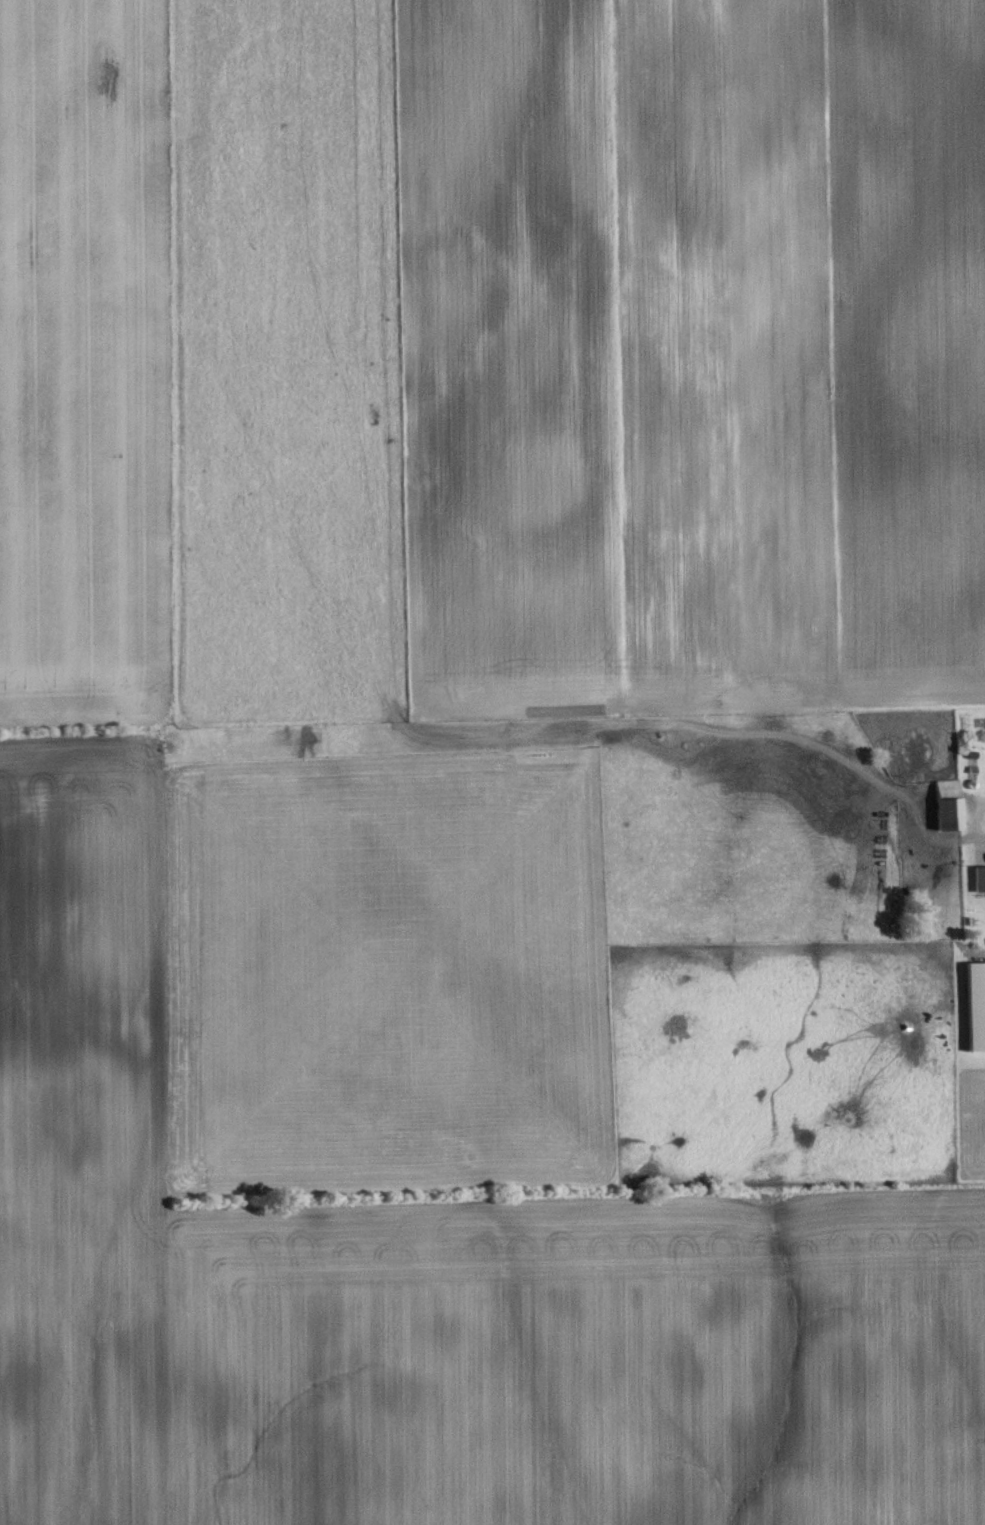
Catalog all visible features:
building: (971, 1005)

